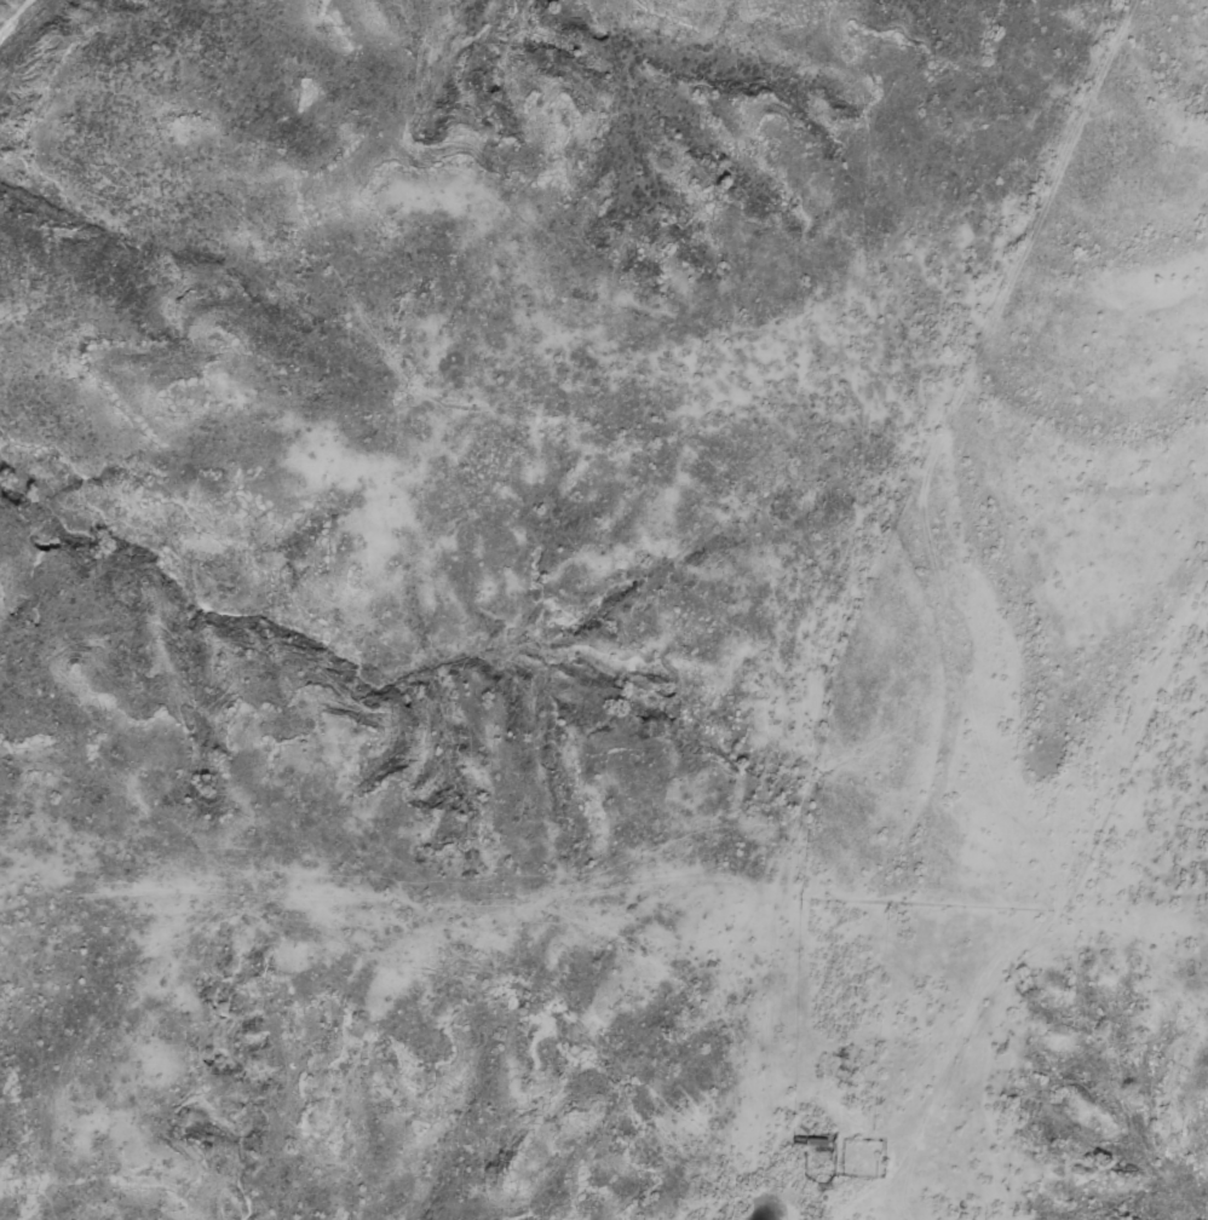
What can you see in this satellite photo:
road: (586, 890)
building: (833, 1064)

